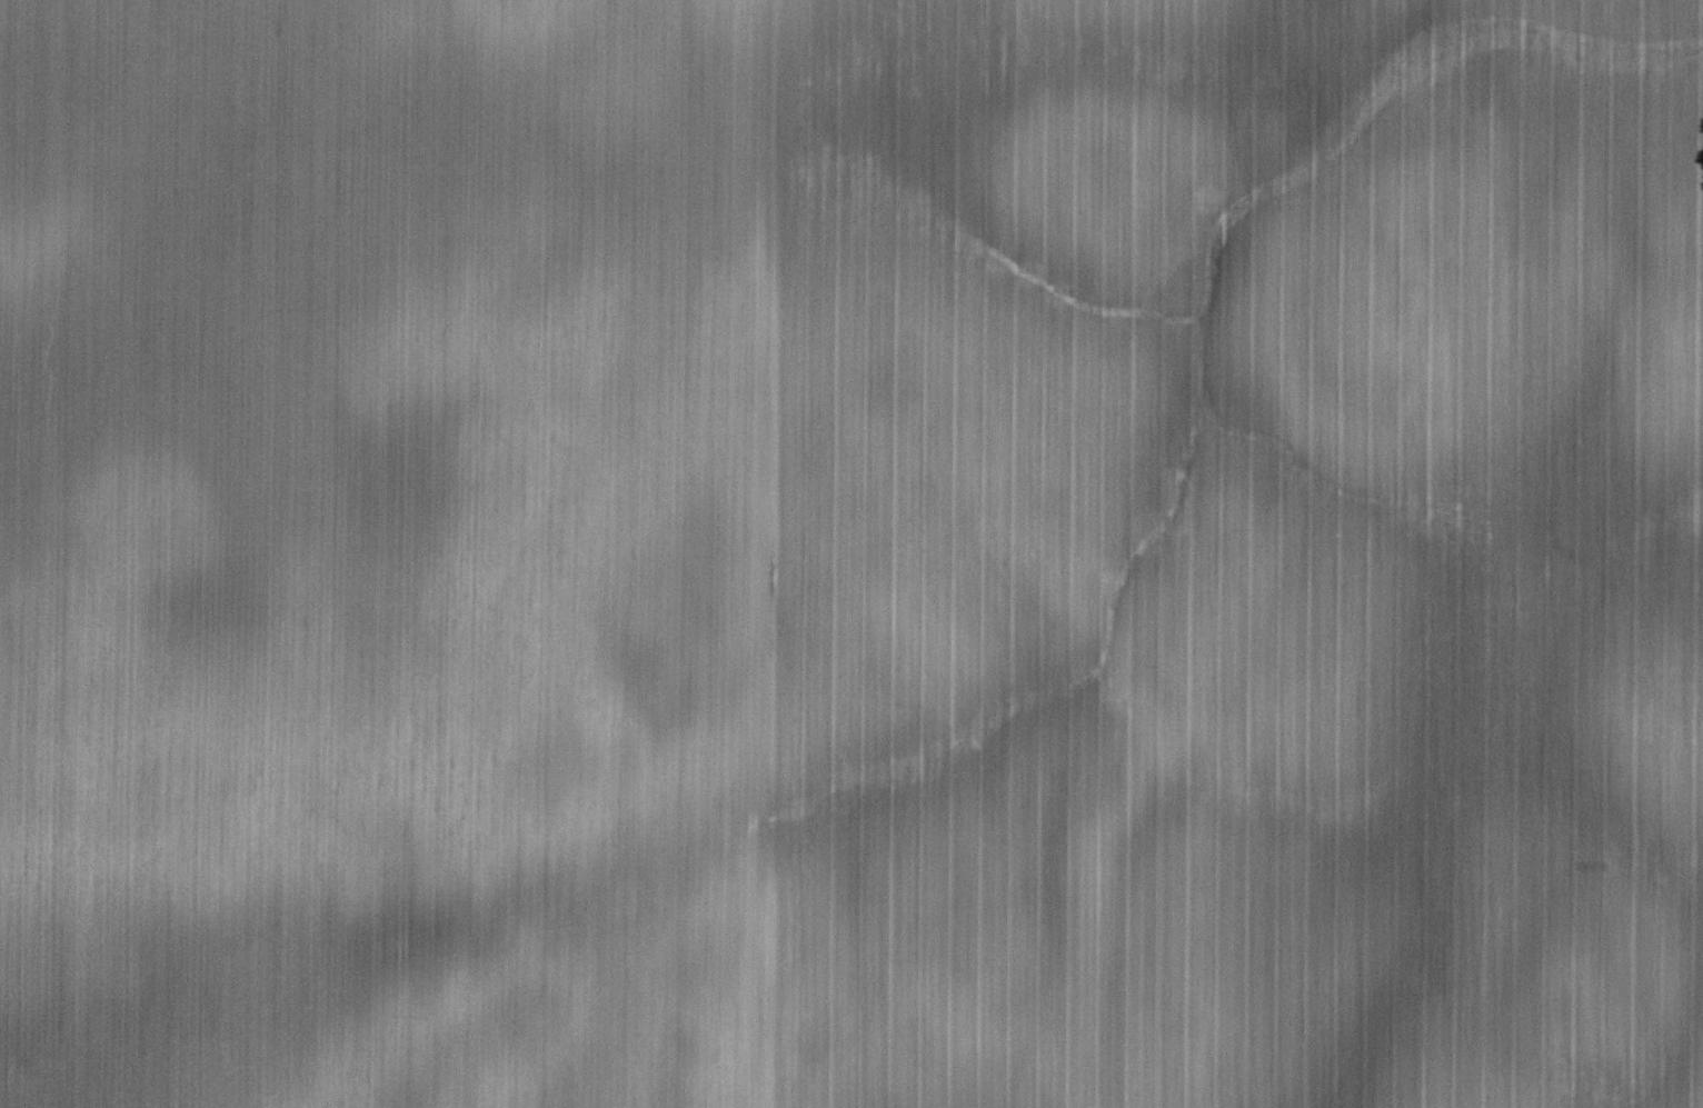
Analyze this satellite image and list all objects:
crop: (852, 553)

